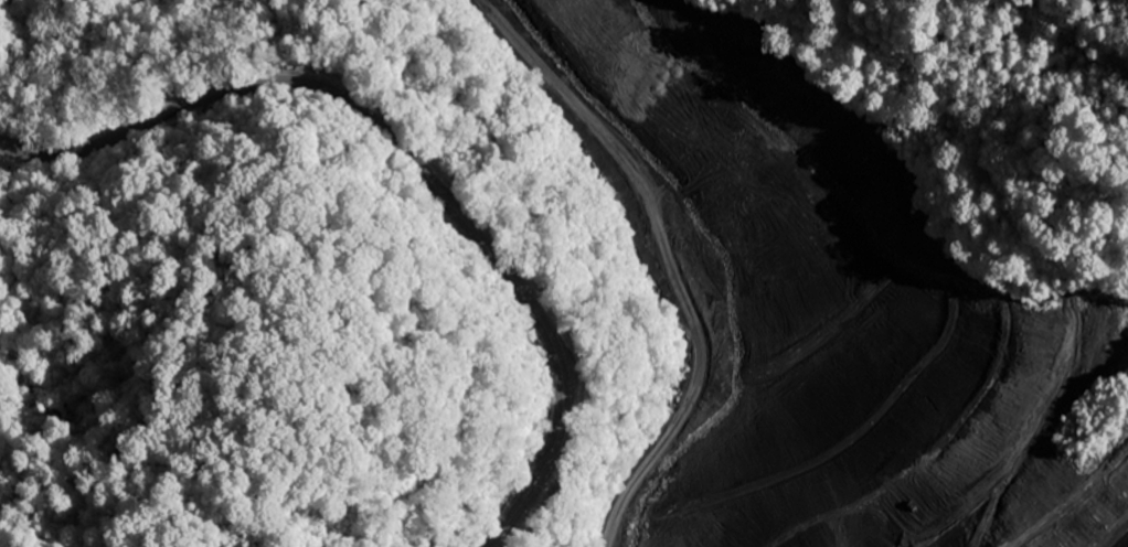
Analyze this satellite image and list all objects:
road: (418, 159)

